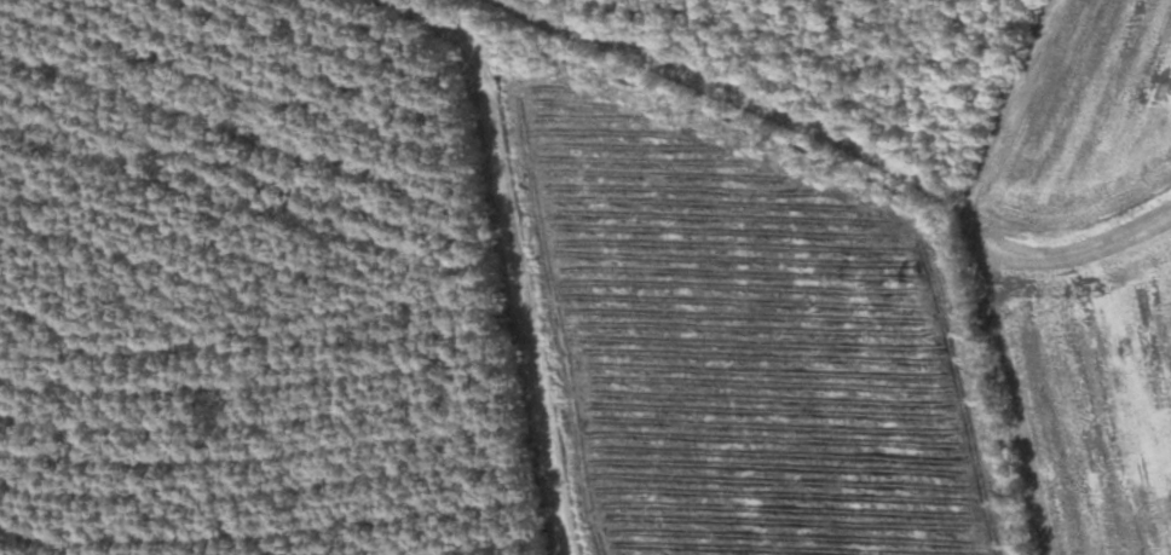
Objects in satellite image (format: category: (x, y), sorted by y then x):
road: (497, 260)

